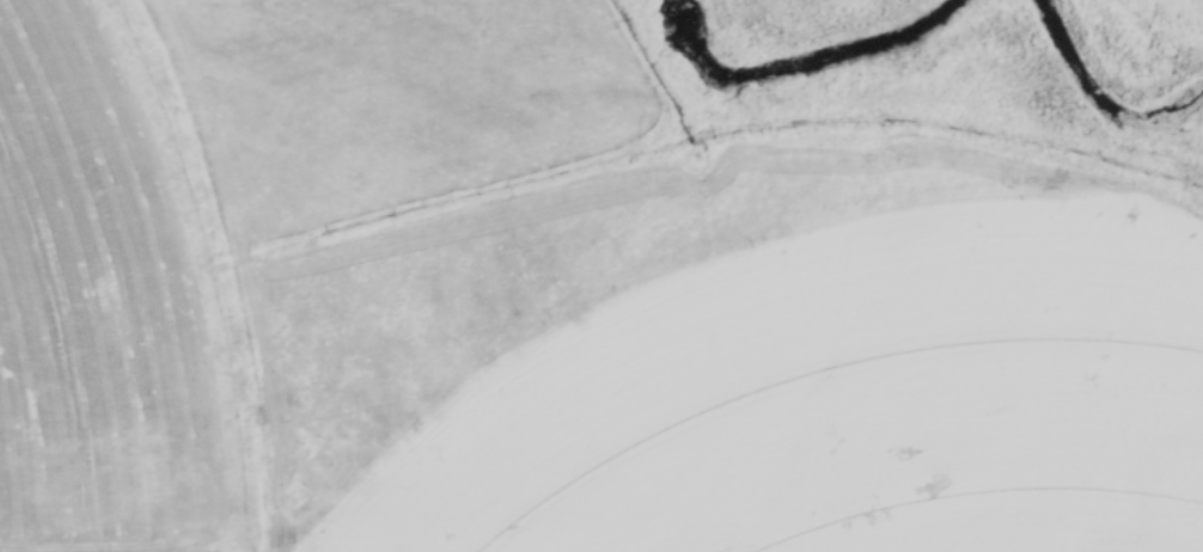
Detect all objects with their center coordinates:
road: (1162, 295)

